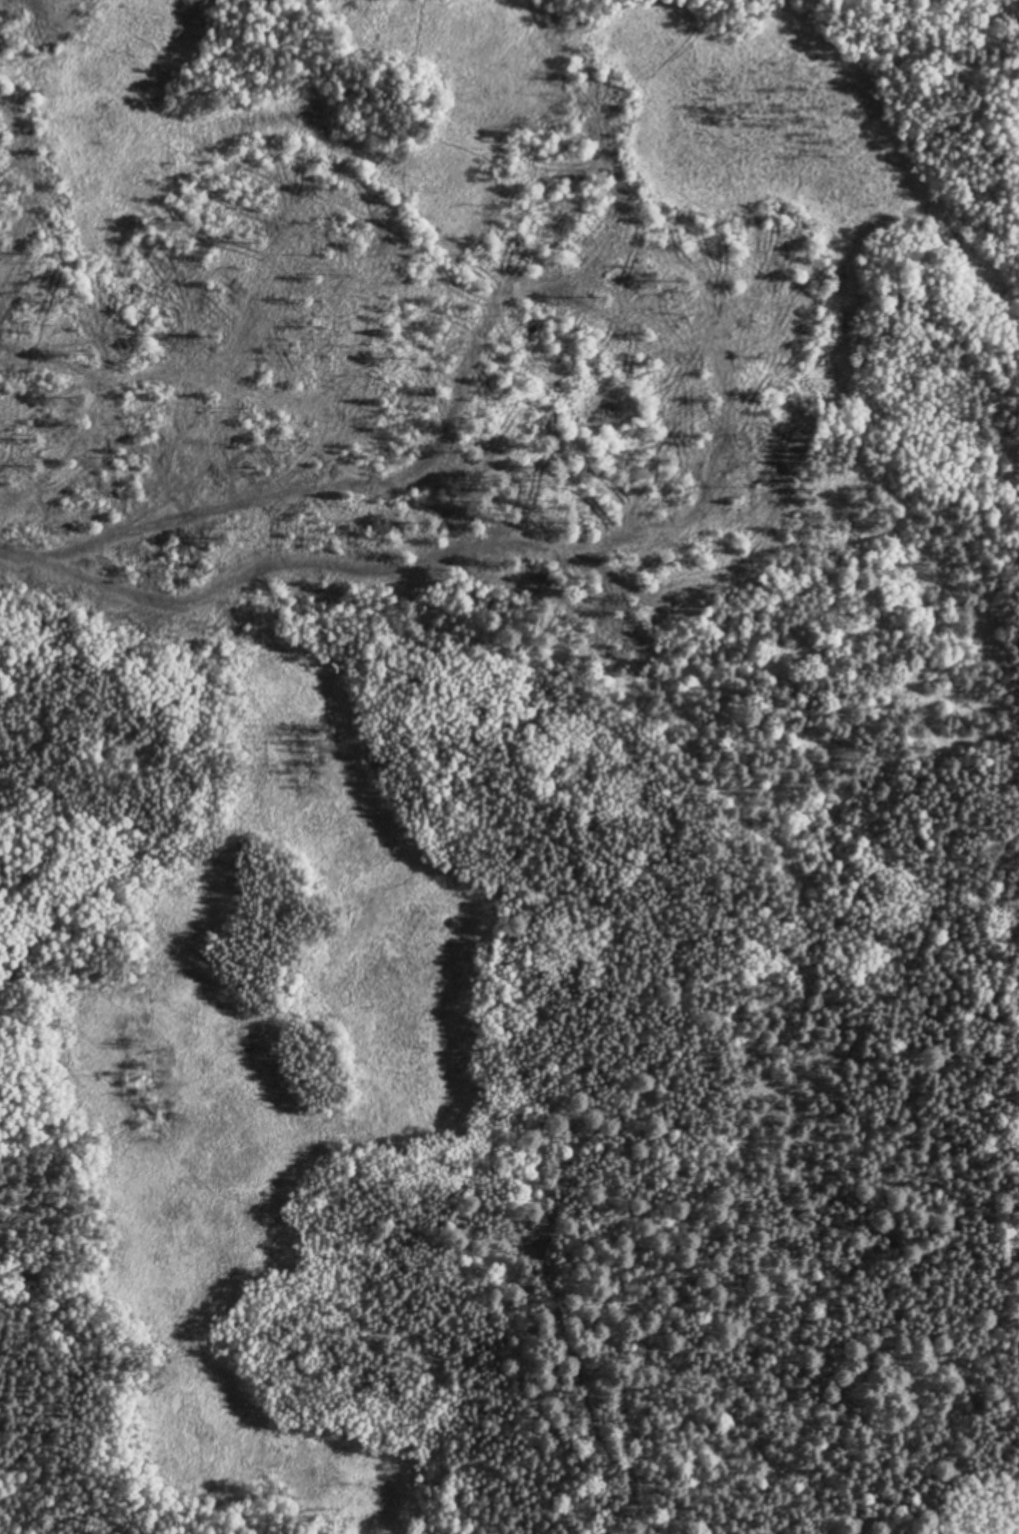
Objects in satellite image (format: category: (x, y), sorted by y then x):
road: (988, 1513)

